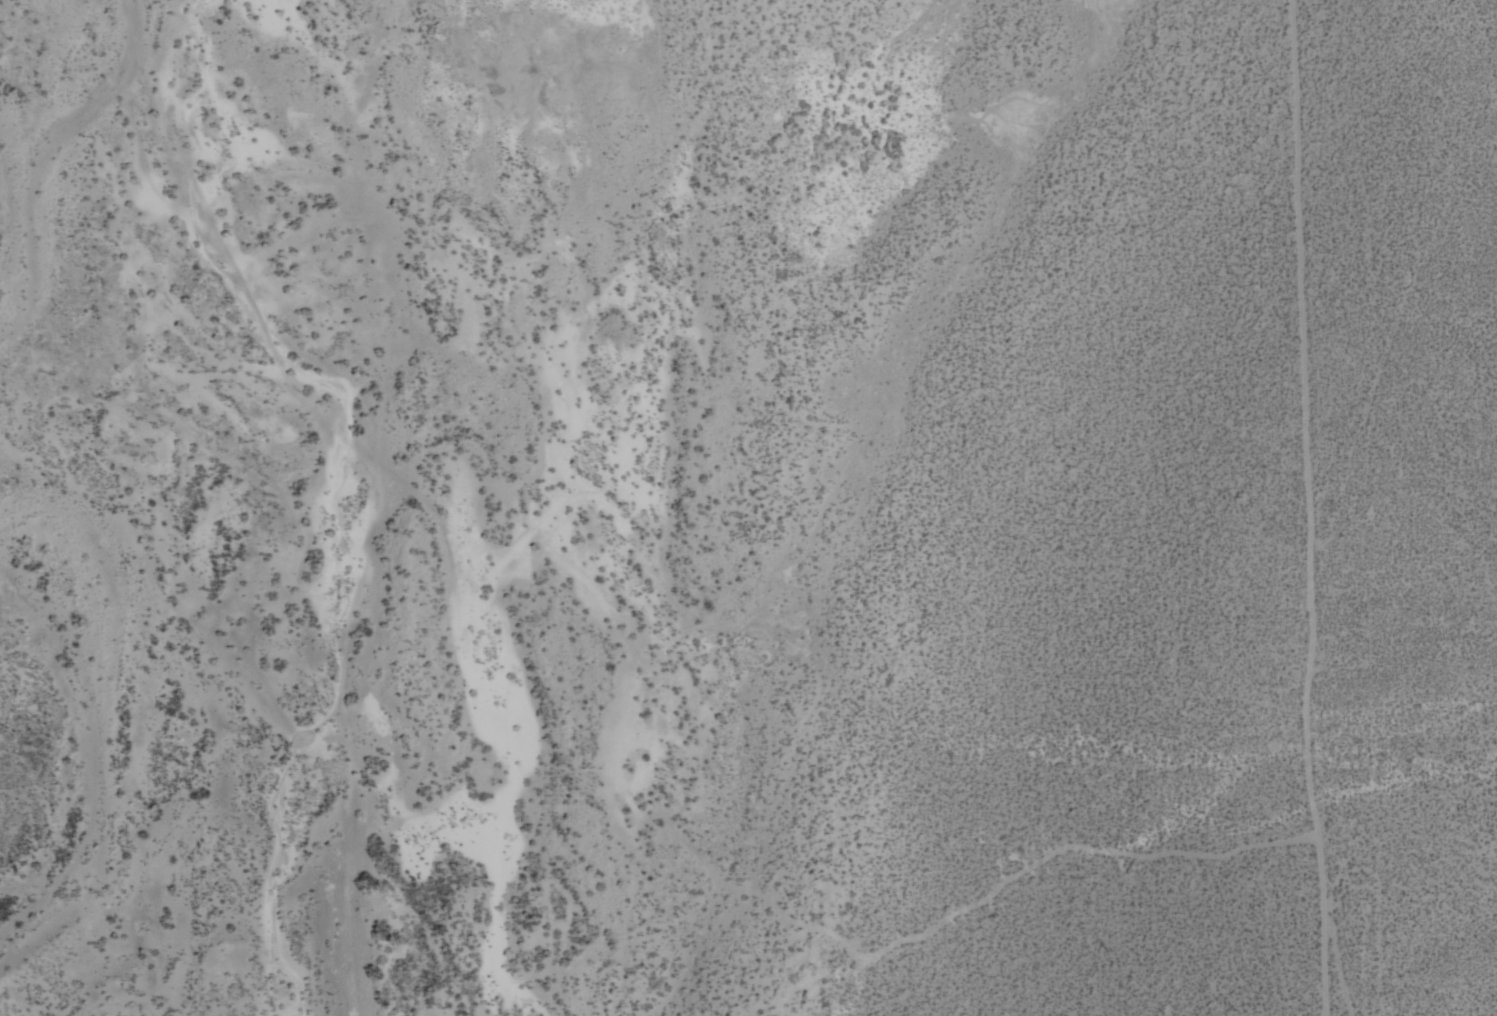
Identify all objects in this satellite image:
road: (172, 131)
road: (1302, 211)
road: (1273, 217)
road: (1312, 720)
road: (726, 886)
road: (1333, 962)

